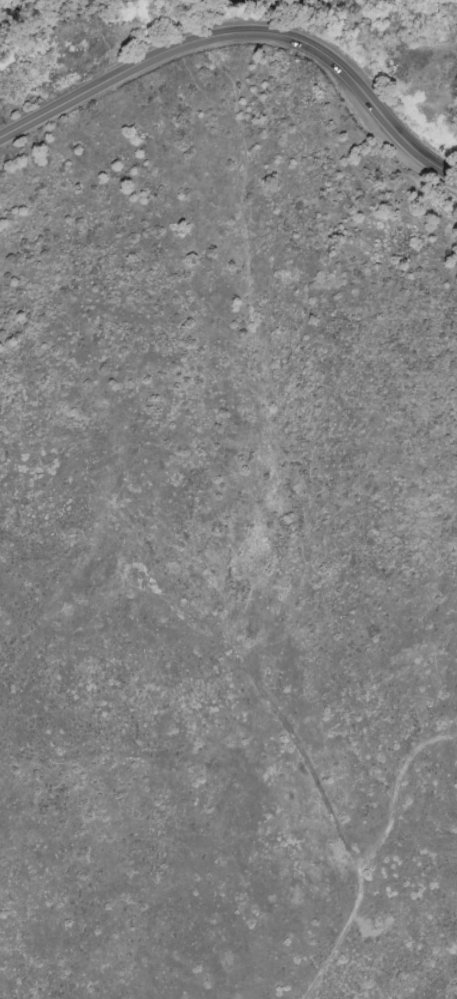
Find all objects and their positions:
road: (240, 38)

